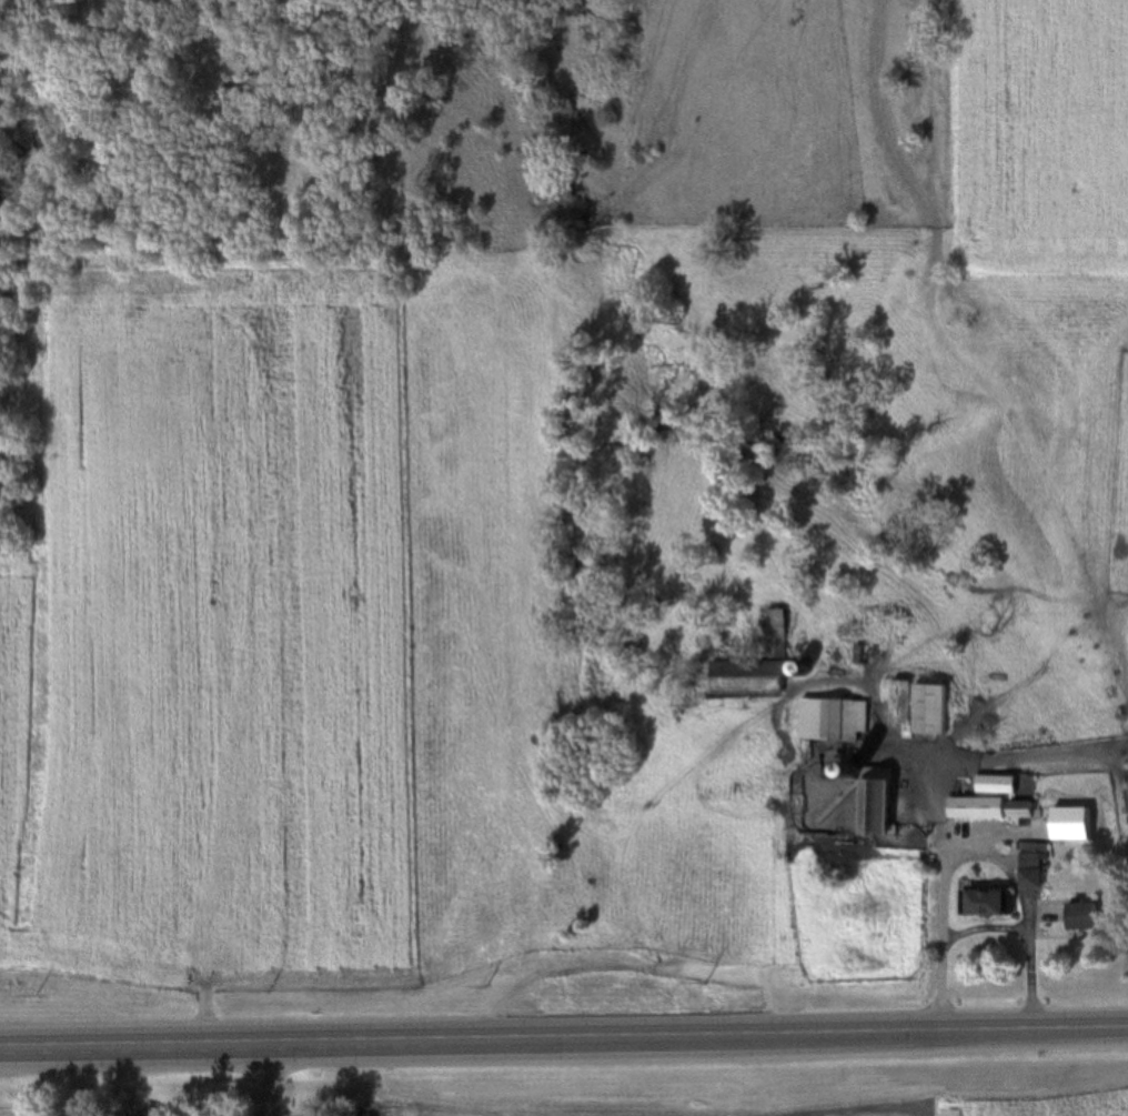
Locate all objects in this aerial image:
building: (755, 666)
building: (918, 708)
building: (830, 720)
building: (960, 747)
building: (994, 784)
building: (873, 803)
building: (989, 808)
building: (1029, 864)
building: (980, 903)
building: (1076, 917)
road: (564, 1037)

